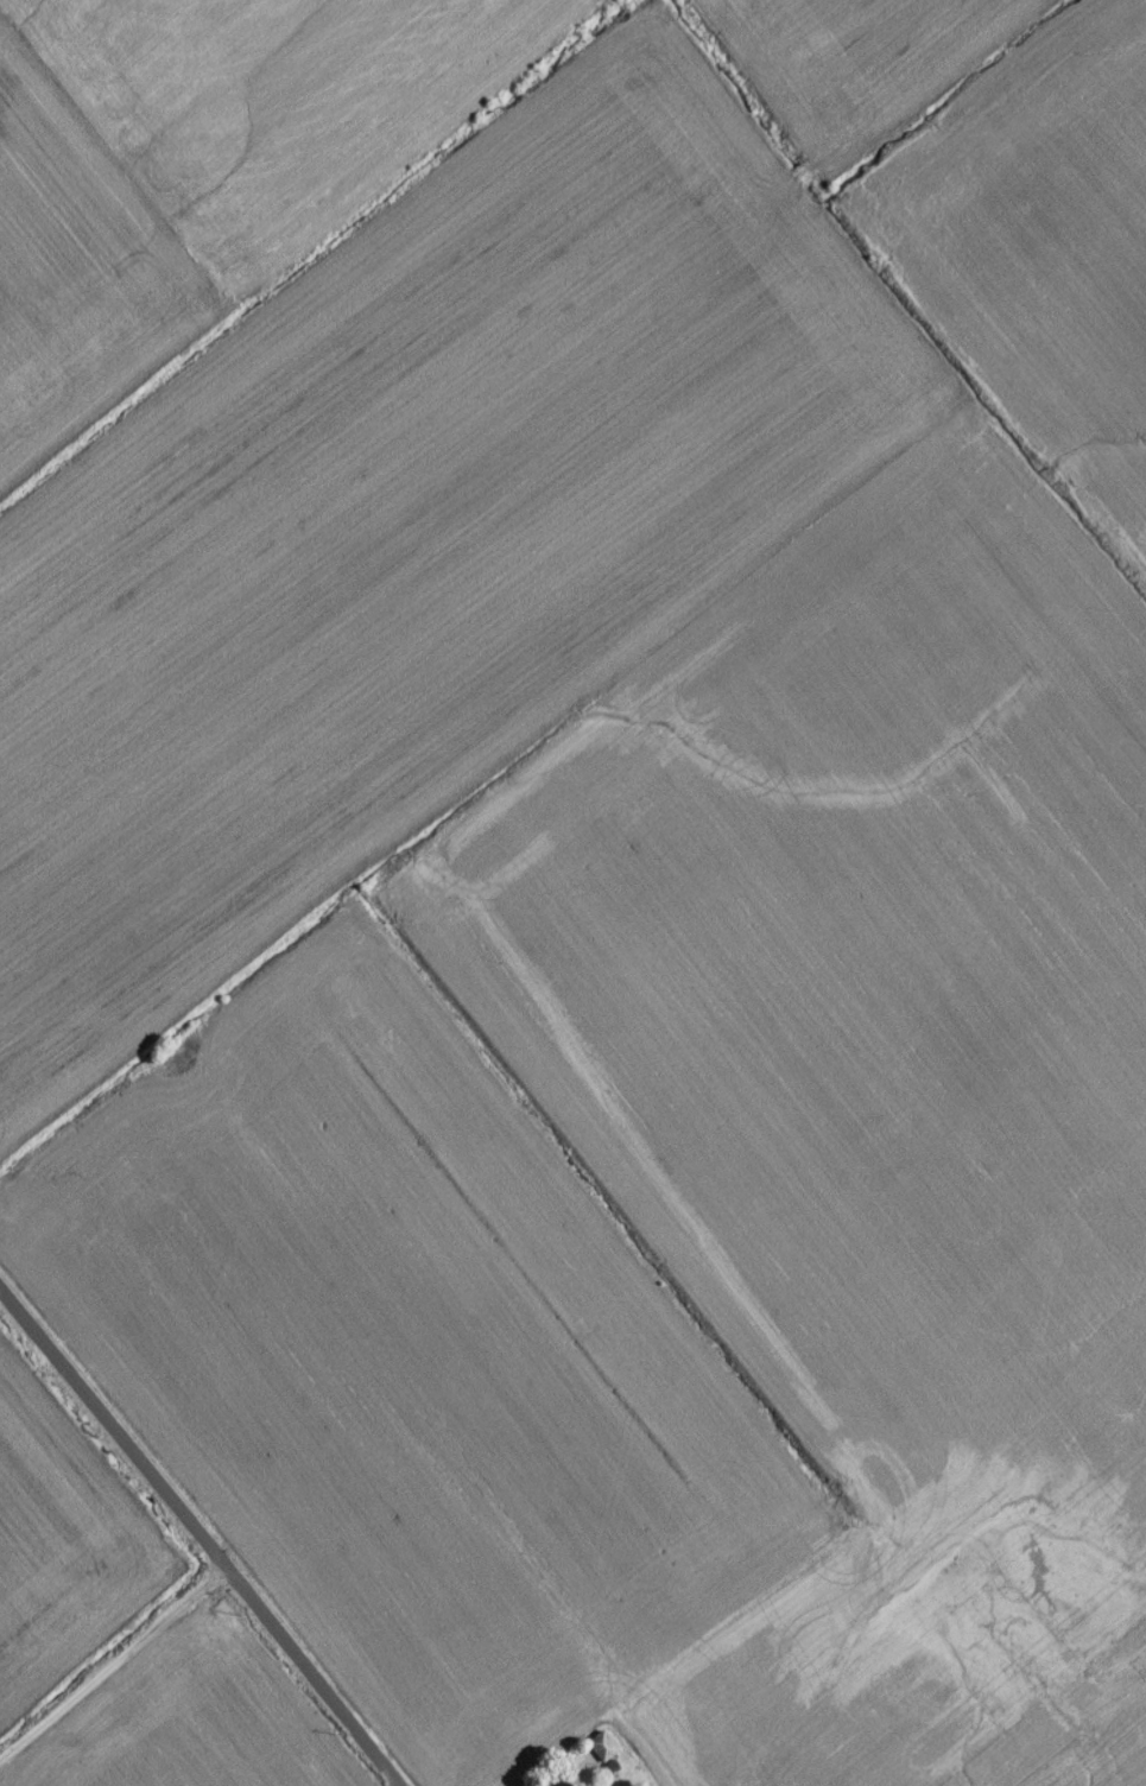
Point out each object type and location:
road: (195, 1541)
road: (112, 1671)
building: (601, 1754)

